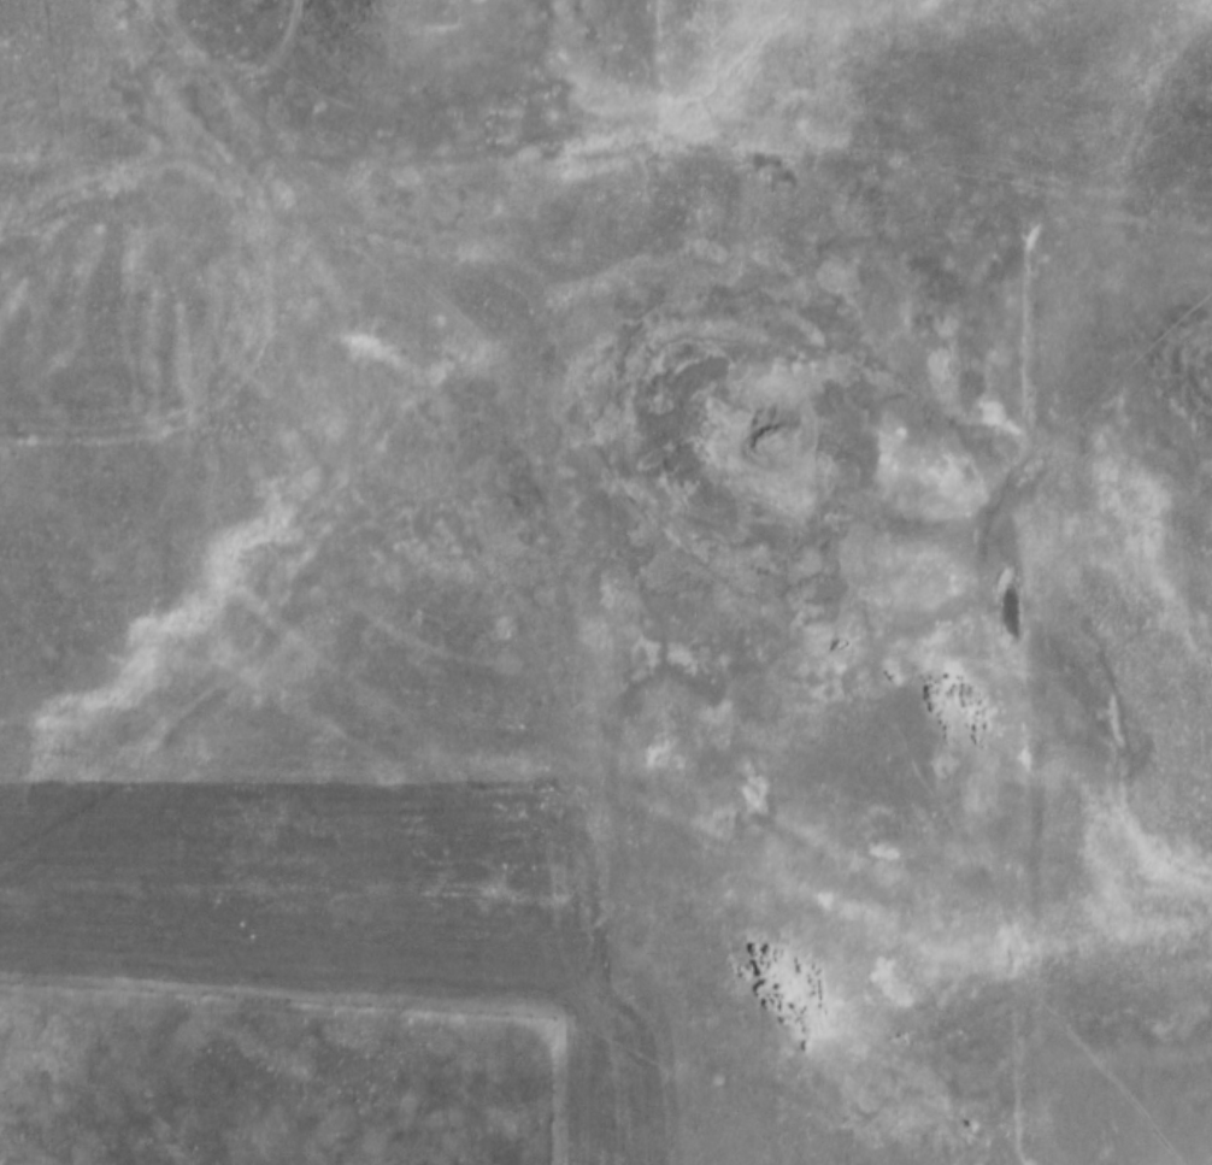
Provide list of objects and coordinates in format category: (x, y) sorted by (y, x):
road: (654, 145)
road: (622, 623)

